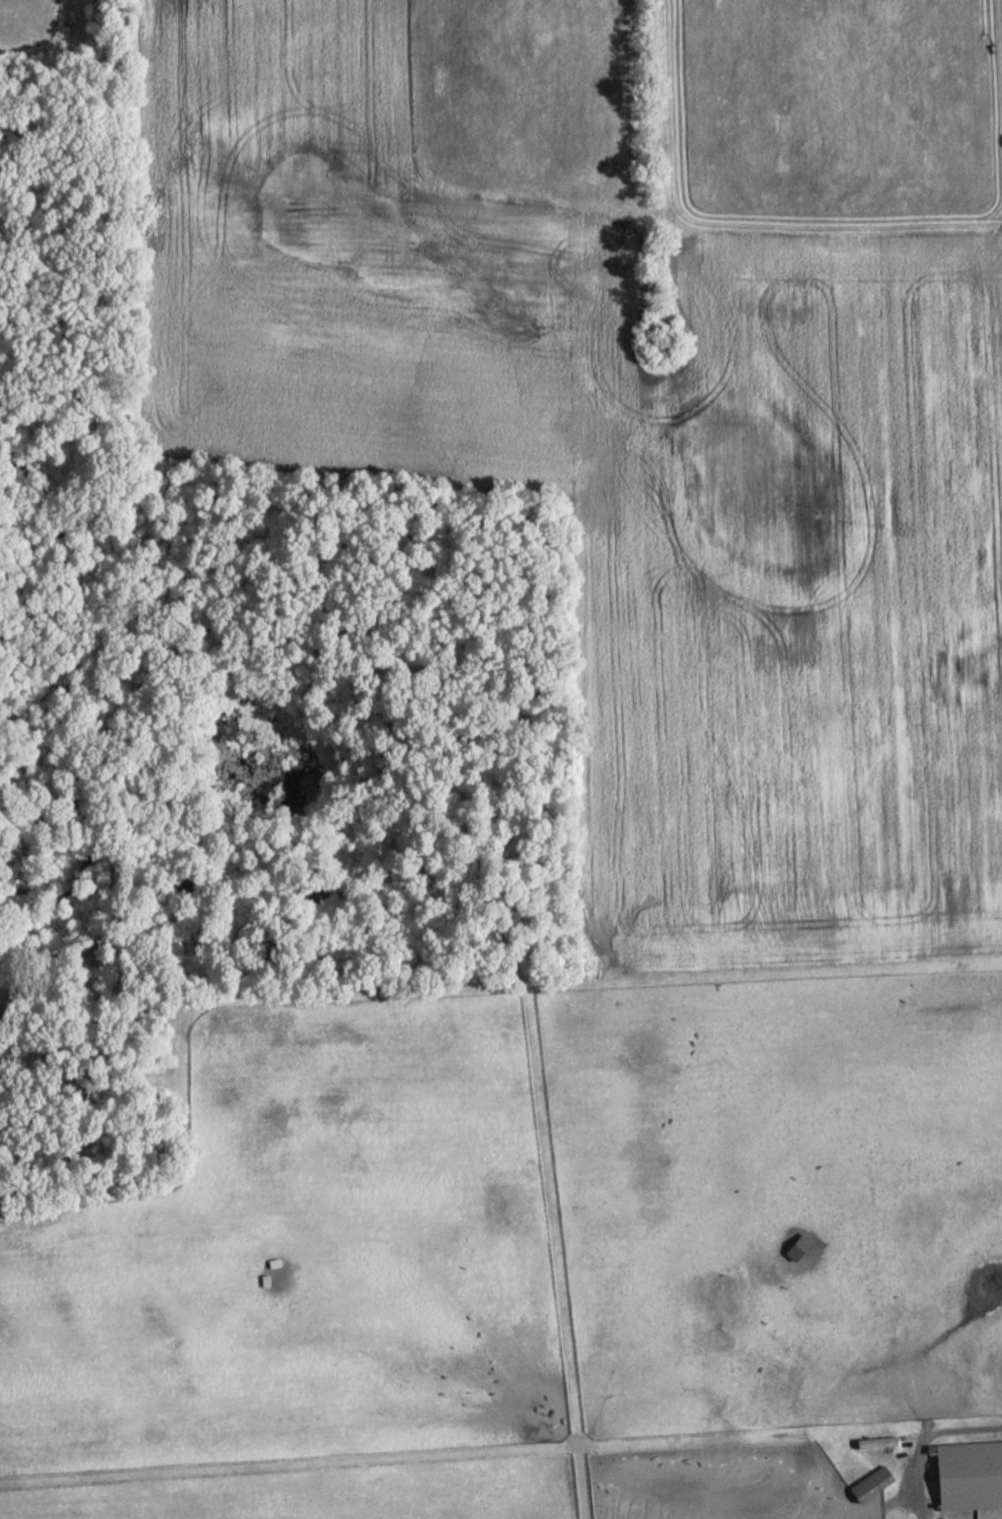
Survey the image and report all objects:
building: (268, 1279)
road: (921, 1438)
building: (967, 1480)

